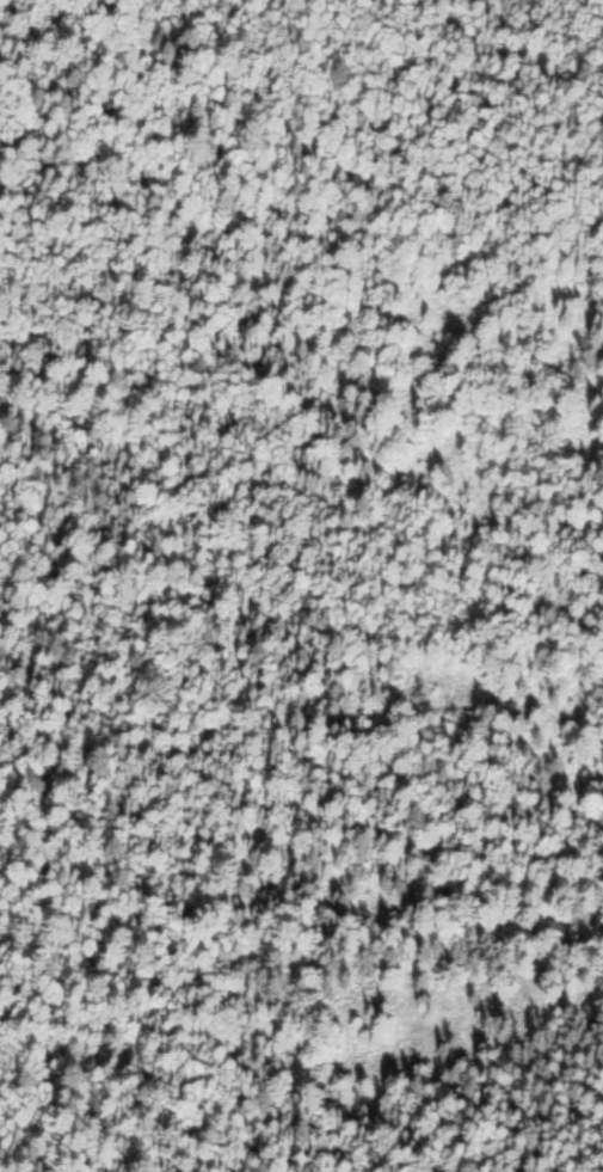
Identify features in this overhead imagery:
building: (550, 931)

